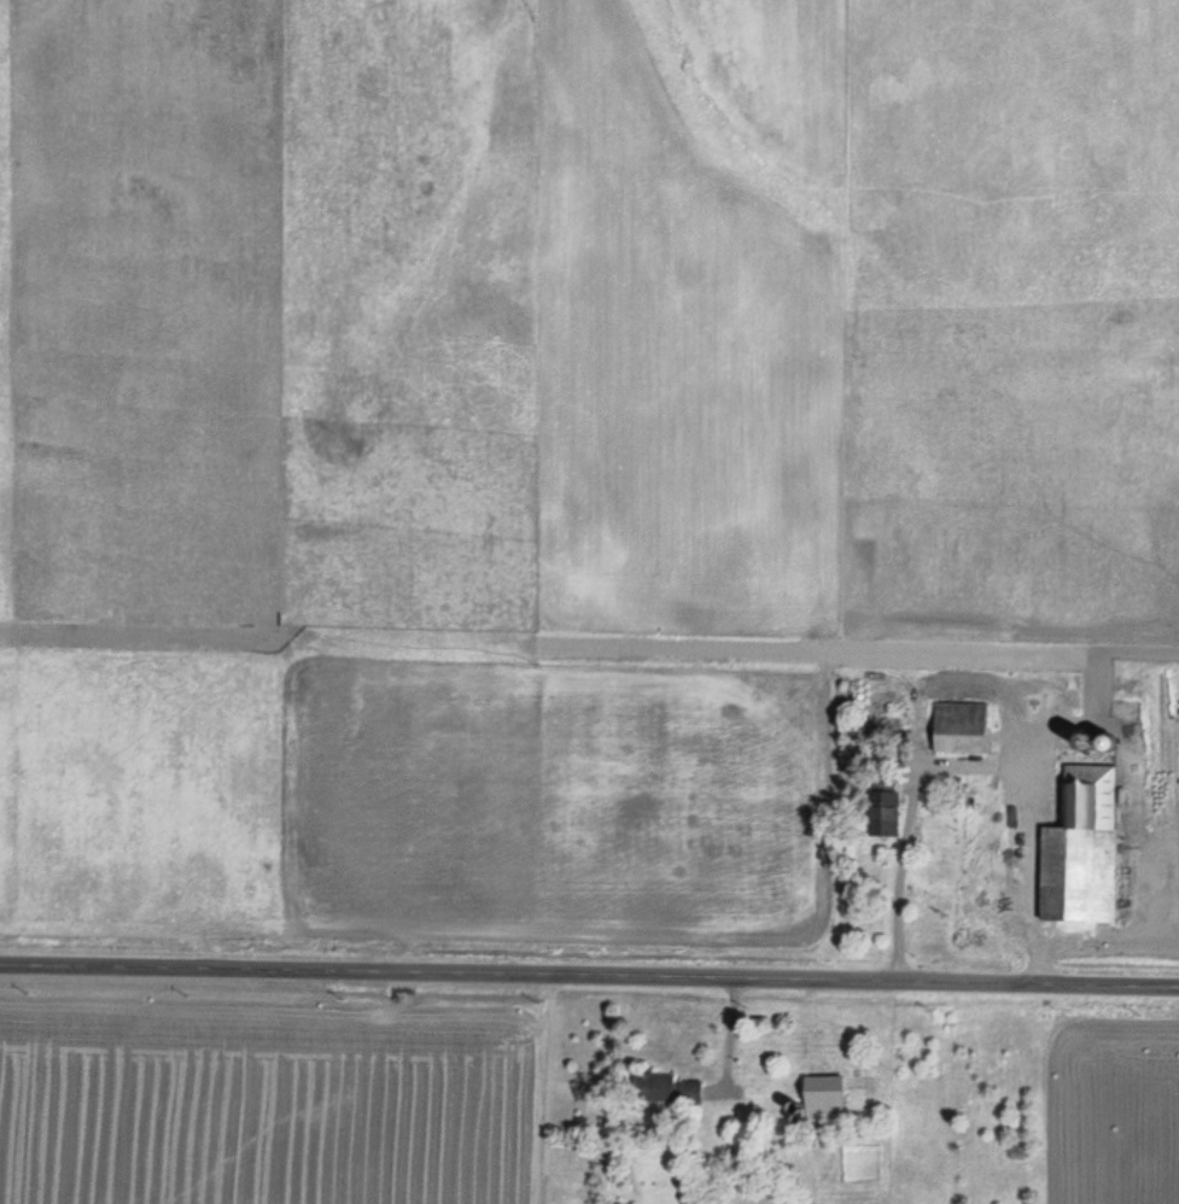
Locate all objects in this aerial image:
building: (958, 729)
building: (881, 814)
building: (1079, 851)
road: (589, 971)
building: (653, 1089)
building: (688, 1093)
building: (822, 1100)

